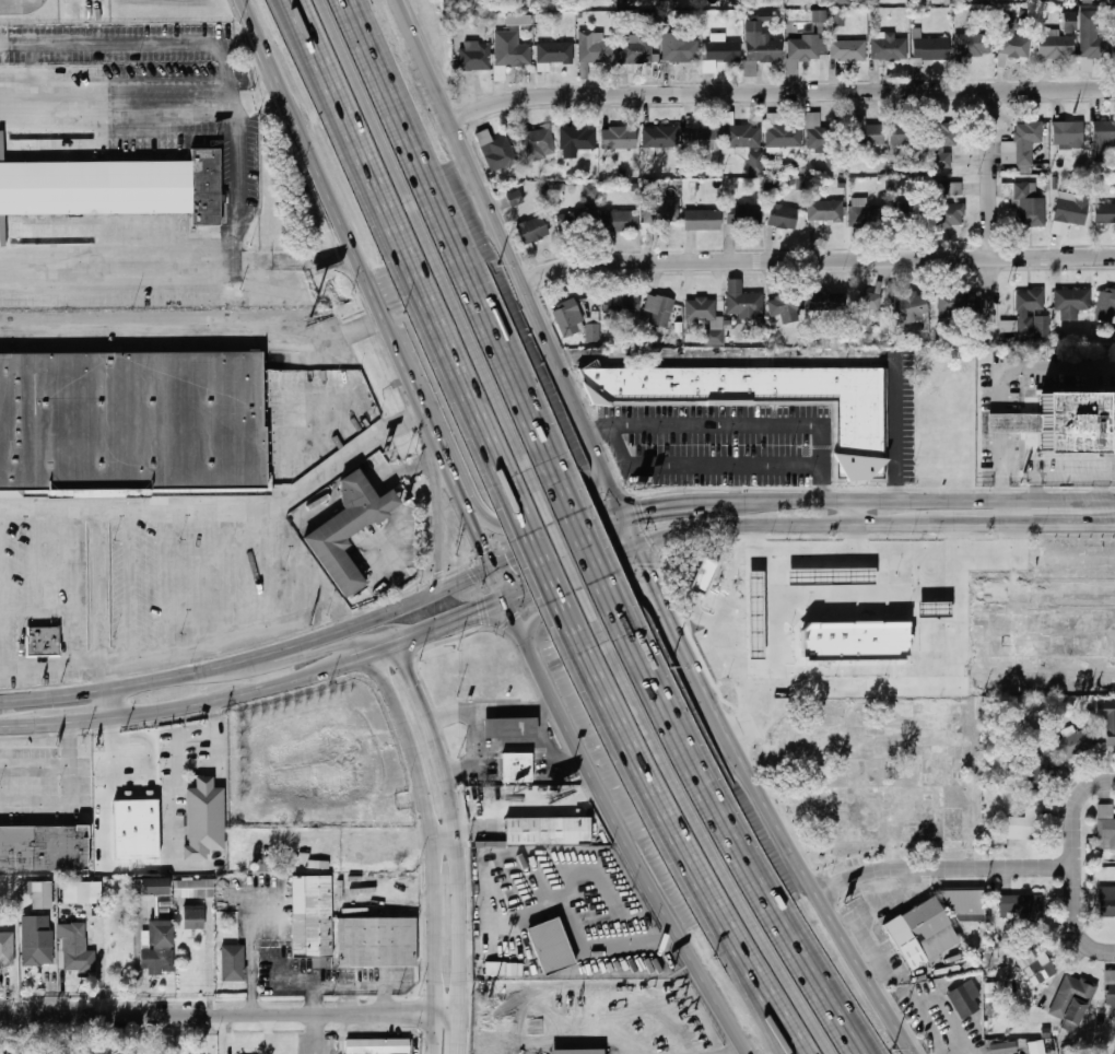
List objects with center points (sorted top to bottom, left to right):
building: (837, 2)
road: (16, 4)
building: (836, 19)
building: (518, 20)
building: (650, 20)
building: (819, 20)
building: (1094, 38)
building: (1012, 40)
building: (762, 44)
building: (974, 45)
building: (1057, 46)
building: (680, 47)
building: (806, 48)
building: (890, 48)
road: (424, 49)
building: (596, 49)
building: (637, 49)
building: (848, 49)
building: (931, 49)
building: (512, 50)
building: (723, 51)
building: (556, 52)
building: (476, 57)
building: (751, 69)
road: (783, 93)
road: (119, 109)
building: (864, 131)
building: (1104, 131)
building: (784, 134)
building: (819, 134)
building: (904, 134)
building: (1069, 134)
building: (742, 137)
building: (575, 138)
building: (661, 138)
building: (619, 139)
building: (537, 143)
building: (1024, 143)
building: (702, 144)
building: (942, 144)
building: (496, 151)
building: (755, 163)
building: (115, 187)
building: (949, 188)
building: (591, 191)
building: (515, 198)
building: (1030, 206)
building: (947, 208)
building: (825, 211)
building: (1071, 211)
building: (661, 212)
building: (905, 212)
building: (1105, 213)
building: (744, 215)
building: (867, 216)
road: (994, 216)
building: (784, 218)
road: (344, 220)
building: (703, 220)
road: (236, 221)
building: (620, 221)
building: (1059, 227)
building: (533, 230)
road: (457, 241)
road: (430, 246)
road: (404, 249)
road: (819, 260)
road: (118, 261)
building: (1072, 300)
building: (743, 302)
building: (826, 302)
road: (536, 304)
building: (622, 304)
building: (955, 305)
building: (1106, 306)
building: (786, 307)
building: (911, 307)
building: (866, 308)
building: (659, 309)
building: (701, 309)
building: (1029, 314)
building: (568, 318)
building: (592, 332)
road: (195, 337)
building: (714, 337)
road: (799, 358)
road: (1060, 370)
building: (771, 400)
road: (811, 406)
parking lot: (913, 415)
road: (1006, 420)
building: (133, 421)
building: (1016, 422)
road: (743, 424)
building: (1072, 425)
parking lot: (717, 445)
road: (704, 465)
road: (1060, 471)
road: (461, 483)
road: (1005, 485)
road: (298, 489)
road: (882, 500)
road: (1101, 500)
road: (1046, 501)
road: (693, 502)
traffic signals: (643, 508)
road: (134, 510)
road: (441, 511)
road: (556, 511)
road: (853, 512)
road: (1009, 513)
building: (351, 523)
road: (772, 525)
road: (960, 525)
road: (1065, 525)
road: (634, 528)
road: (560, 537)
road: (794, 537)
traffic signals: (488, 542)
road: (588, 547)
road: (1016, 552)
traffic signals: (620, 554)
road: (566, 558)
traffic signals: (508, 559)
road: (494, 562)
road: (648, 565)
road: (544, 567)
traffic signals: (650, 571)
road: (575, 572)
road: (468, 576)
building: (701, 576)
building: (829, 577)
gas station: (829, 577)
road: (583, 599)
building: (932, 608)
gas station: (932, 608)
traffic signals: (478, 612)
building: (753, 613)
gas station: (753, 613)
road: (669, 617)
road: (376, 618)
road: (457, 620)
building: (45, 635)
road: (236, 637)
road: (360, 639)
building: (853, 640)
road: (445, 643)
road: (389, 647)
road: (258, 658)
road: (64, 669)
road: (319, 671)
road: (319, 686)
road: (103, 689)
road: (114, 702)
road: (190, 705)
road: (493, 712)
road: (423, 715)
road: (213, 717)
building: (1107, 719)
road: (61, 722)
building: (513, 724)
gas station: (513, 724)
road: (3, 726)
building: (1075, 741)
road: (68, 743)
road: (110, 747)
road: (513, 748)
road: (216, 756)
road: (477, 756)
road: (549, 761)
building: (520, 763)
building: (1032, 768)
road: (68, 785)
road: (171, 785)
road: (658, 801)
road: (1077, 812)
building: (204, 813)
building: (1106, 823)
building: (1023, 824)
building: (138, 825)
building: (552, 828)
road: (625, 829)
road: (735, 838)
road: (447, 841)
road: (709, 841)
building: (45, 843)
road: (435, 847)
road: (798, 853)
road: (946, 867)
building: (152, 887)
building: (195, 889)
building: (81, 892)
building: (42, 895)
road: (461, 899)
building: (1106, 901)
building: (969, 904)
building: (1019, 906)
road: (568, 914)
building: (313, 916)
building: (195, 917)
road: (1077, 921)
building: (924, 933)
building: (37, 940)
road: (249, 942)
building: (377, 942)
building: (551, 946)
building: (157, 948)
building: (7, 949)
building: (77, 949)
building: (234, 963)
building: (1035, 965)
building: (495, 968)
road: (349, 986)
building: (1110, 986)
building: (989, 993)
building: (964, 998)
building: (1071, 998)
road: (768, 1010)
road: (776, 1010)
road: (231, 1015)
road: (461, 1033)
road: (315, 1034)
building: (377, 1045)
building: (1036, 1046)
building: (1003, 1047)
building: (1067, 1050)
road: (742, 1051)
building: (578, 1052)
road: (964, 1053)

